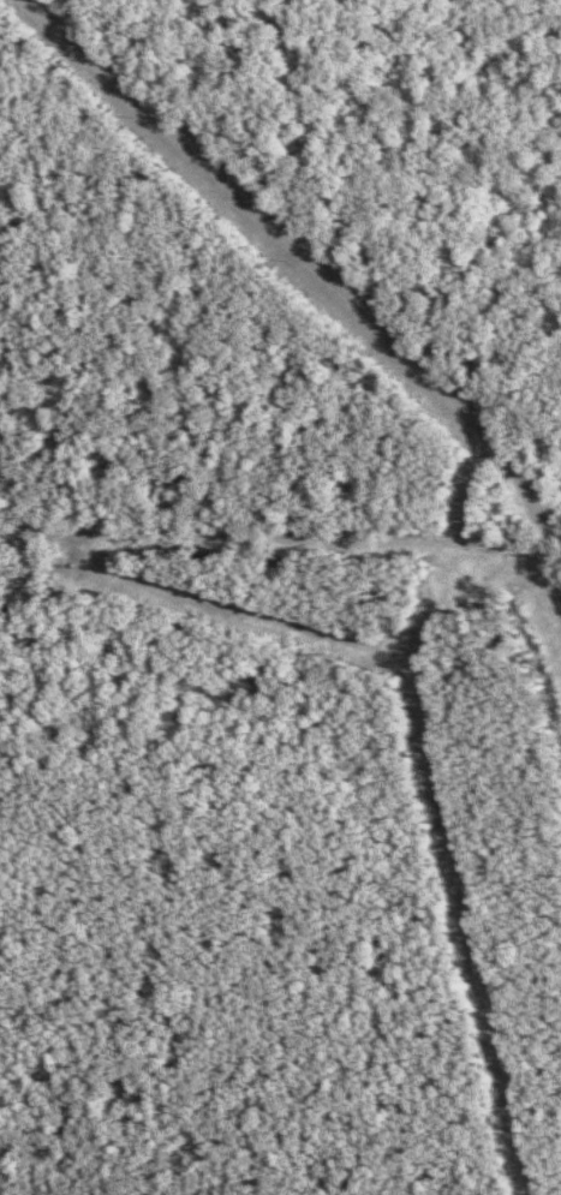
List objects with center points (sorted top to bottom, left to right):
road: (318, 265)

